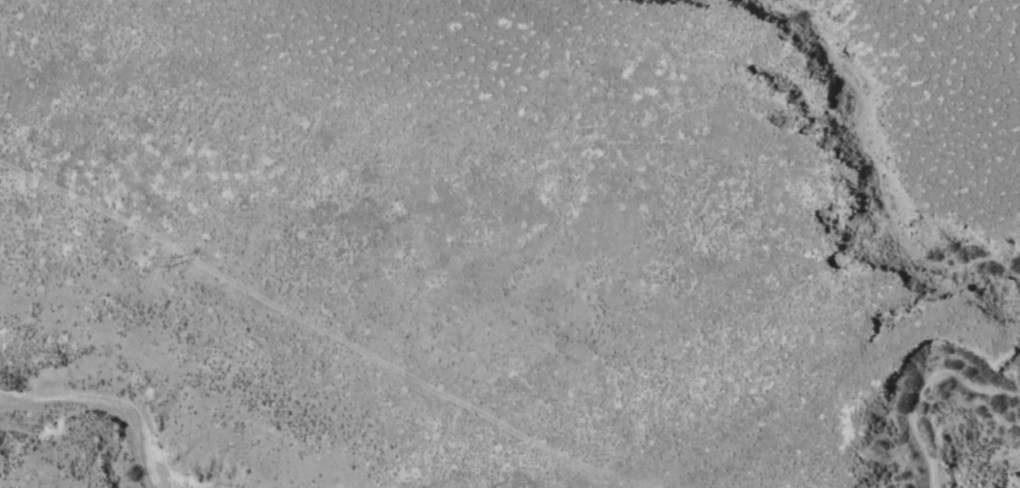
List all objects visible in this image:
road: (124, 231)
power tower: (163, 260)

